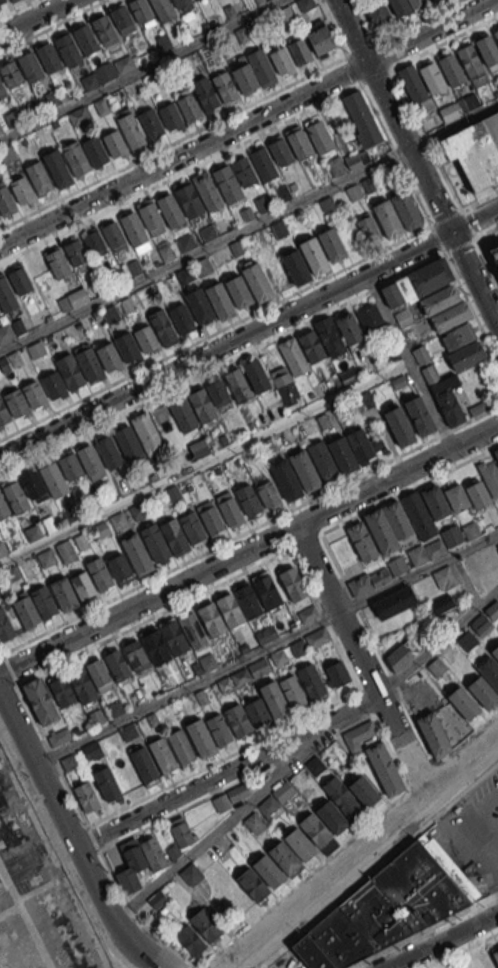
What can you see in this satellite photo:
building: (2, 0)
building: (10, 0)
building: (196, 0)
building: (431, 0)
building: (180, 3)
building: (305, 4)
building: (417, 4)
building: (399, 7)
road: (16, 8)
building: (162, 9)
building: (140, 10)
building: (377, 12)
road: (35, 17)
road: (416, 19)
building: (122, 20)
road: (51, 25)
road: (332, 28)
building: (104, 30)
road: (430, 32)
building: (495, 32)
building: (85, 38)
building: (320, 40)
building: (162, 43)
road: (361, 47)
building: (67, 48)
building: (486, 49)
road: (429, 50)
building: (299, 51)
building: (48, 57)
building: (468, 59)
building: (281, 60)
building: (127, 63)
building: (29, 66)
building: (260, 67)
road: (139, 69)
road: (352, 69)
building: (450, 69)
building: (10, 74)
building: (244, 77)
building: (431, 78)
building: (412, 83)
building: (224, 86)
building: (136, 88)
building: (2, 91)
building: (205, 93)
building: (188, 106)
building: (459, 107)
building: (170, 115)
building: (77, 117)
building: (12, 118)
building: (361, 119)
building: (150, 123)
road: (452, 124)
building: (1, 129)
building: (130, 130)
building: (318, 136)
road: (173, 141)
road: (428, 142)
building: (114, 144)
building: (299, 144)
building: (474, 149)
building: (94, 150)
building: (280, 152)
road: (394, 154)
road: (183, 155)
building: (75, 158)
building: (356, 160)
building: (263, 164)
road: (415, 164)
building: (336, 166)
building: (57, 168)
building: (243, 171)
building: (387, 172)
road: (180, 173)
building: (37, 176)
building: (227, 184)
building: (20, 190)
building: (207, 190)
building: (353, 192)
building: (188, 199)
building: (5, 200)
road: (464, 208)
building: (406, 209)
building: (170, 210)
building: (149, 216)
building: (388, 219)
road: (473, 221)
building: (367, 227)
building: (133, 228)
road: (486, 232)
building: (113, 234)
road: (436, 239)
building: (94, 244)
building: (331, 244)
road: (459, 245)
road: (203, 248)
building: (495, 254)
building: (76, 255)
building: (314, 256)
building: (56, 261)
building: (296, 265)
building: (203, 266)
building: (19, 280)
building: (257, 282)
building: (416, 283)
building: (238, 290)
building: (6, 296)
building: (72, 299)
building: (439, 299)
building: (220, 301)
building: (200, 307)
road: (470, 308)
building: (450, 316)
building: (402, 317)
building: (181, 318)
building: (370, 319)
building: (163, 328)
building: (349, 328)
road: (216, 331)
building: (5, 333)
building: (329, 336)
building: (458, 336)
building: (145, 338)
road: (225, 345)
building: (127, 346)
building: (311, 346)
building: (36, 349)
building: (420, 354)
building: (466, 354)
building: (292, 355)
building: (108, 356)
building: (10, 361)
road: (409, 361)
road: (221, 363)
building: (88, 364)
building: (69, 371)
building: (430, 373)
building: (255, 375)
building: (348, 375)
building: (398, 381)
building: (444, 383)
building: (237, 384)
building: (53, 385)
building: (284, 385)
building: (218, 391)
building: (33, 393)
building: (15, 402)
building: (201, 404)
building: (479, 406)
building: (449, 407)
building: (3, 413)
building: (183, 413)
building: (419, 415)
building: (160, 418)
building: (323, 420)
building: (399, 426)
building: (146, 432)
building: (127, 442)
building: (363, 445)
building: (265, 446)
building: (199, 448)
building: (108, 451)
building: (496, 452)
building: (342, 454)
building: (88, 459)
building: (322, 461)
road: (204, 462)
building: (70, 466)
building: (304, 470)
building: (490, 476)
building: (286, 479)
building: (53, 480)
building: (32, 484)
building: (266, 490)
building: (172, 493)
building: (477, 494)
building: (15, 497)
building: (457, 497)
building: (248, 499)
building: (435, 501)
building: (92, 502)
building: (228, 507)
building: (3, 509)
building: (138, 511)
building: (68, 514)
building: (419, 515)
building: (209, 517)
building: (117, 519)
building: (397, 519)
building: (48, 523)
building: (192, 527)
building: (100, 529)
road: (250, 529)
building: (380, 530)
building: (471, 530)
building: (32, 531)
building: (452, 536)
building: (174, 537)
building: (361, 540)
building: (80, 541)
building: (154, 542)
building: (2, 549)
road: (249, 550)
building: (65, 551)
building: (426, 552)
building: (136, 553)
building: (46, 557)
road: (258, 563)
building: (119, 567)
building: (99, 573)
building: (9, 574)
building: (377, 576)
road: (411, 577)
building: (444, 577)
building: (293, 583)
building: (82, 584)
building: (266, 591)
building: (63, 593)
building: (248, 600)
building: (43, 601)
building: (395, 602)
building: (441, 602)
building: (25, 609)
building: (229, 609)
building: (492, 610)
building: (211, 619)
building: (481, 624)
building: (4, 625)
building: (192, 629)
building: (173, 637)
building: (466, 641)
road: (437, 643)
building: (155, 647)
road: (377, 650)
building: (495, 651)
building: (135, 655)
building: (399, 656)
building: (117, 663)
road: (360, 663)
building: (436, 666)
road: (348, 669)
building: (98, 671)
building: (489, 671)
building: (336, 674)
building: (311, 681)
building: (82, 685)
building: (62, 691)
road: (178, 691)
building: (292, 691)
building: (482, 692)
building: (273, 699)
building: (39, 700)
building: (463, 702)
building: (256, 712)
building: (237, 720)
building: (218, 729)
building: (433, 733)
building: (59, 737)
building: (200, 737)
building: (180, 746)
road: (49, 748)
building: (161, 754)
road: (223, 758)
building: (143, 765)
building: (315, 765)
building: (384, 768)
road: (225, 772)
building: (126, 777)
road: (235, 782)
building: (106, 783)
building: (363, 790)
building: (237, 792)
building: (283, 792)
road: (461, 793)
building: (85, 796)
building: (343, 798)
building: (220, 802)
road: (238, 811)
building: (331, 816)
road: (467, 818)
building: (254, 823)
road: (50, 828)
building: (314, 829)
building: (181, 834)
road: (70, 840)
road: (349, 840)
building: (299, 844)
road: (491, 844)
road: (363, 852)
building: (153, 853)
building: (283, 856)
road: (491, 865)
building: (267, 868)
building: (130, 869)
building: (191, 874)
building: (252, 883)
building: (418, 887)
road: (342, 896)
road: (123, 911)
building: (374, 915)
road: (136, 921)
building: (204, 924)
road: (424, 930)
building: (190, 939)
building: (339, 939)
road: (444, 941)
road: (462, 949)
road: (114, 951)
building: (310, 953)
building: (495, 954)
building: (8, 957)
road: (186, 965)
road: (203, 967)

